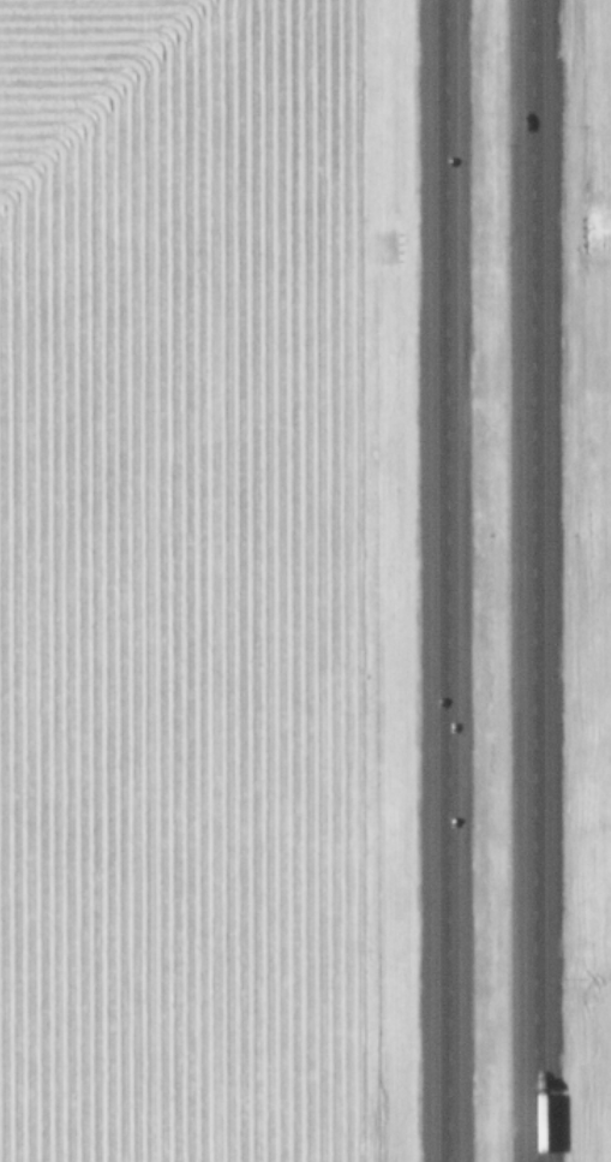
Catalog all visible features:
crop: (180, 580)
road: (461, 580)
road: (533, 580)

